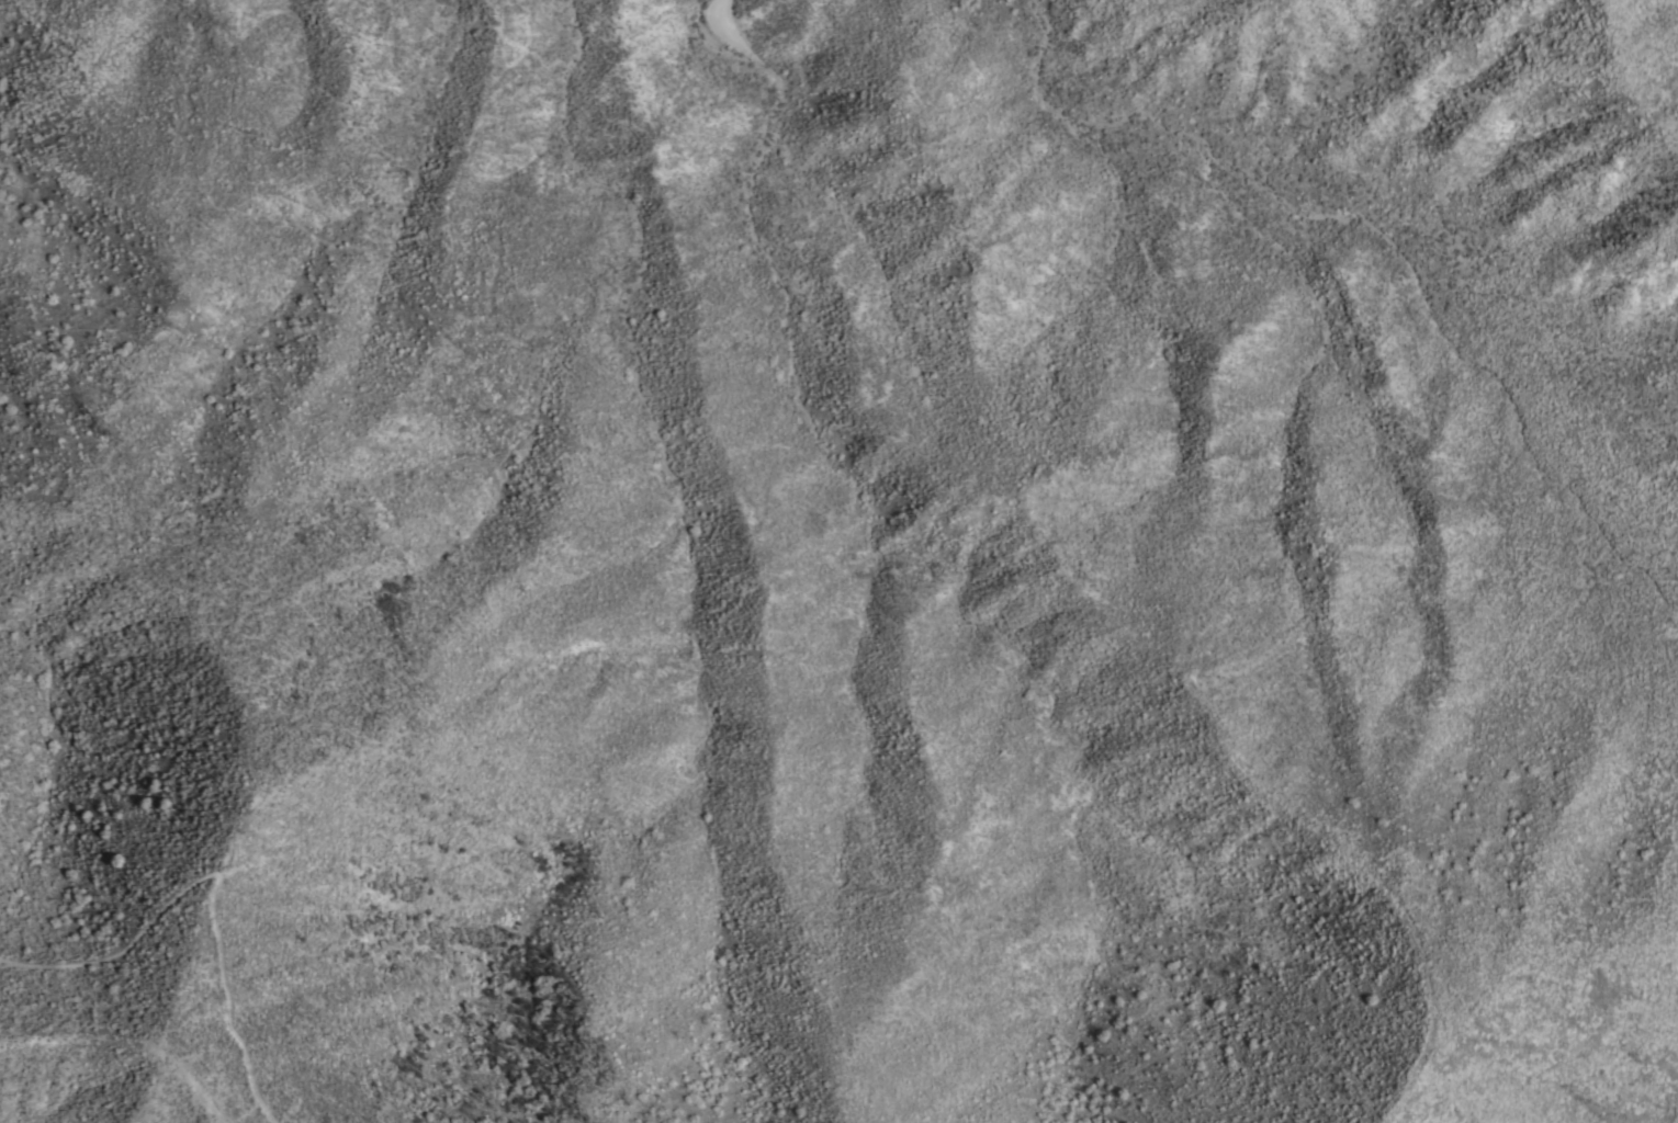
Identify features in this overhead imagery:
road: (214, 881)

